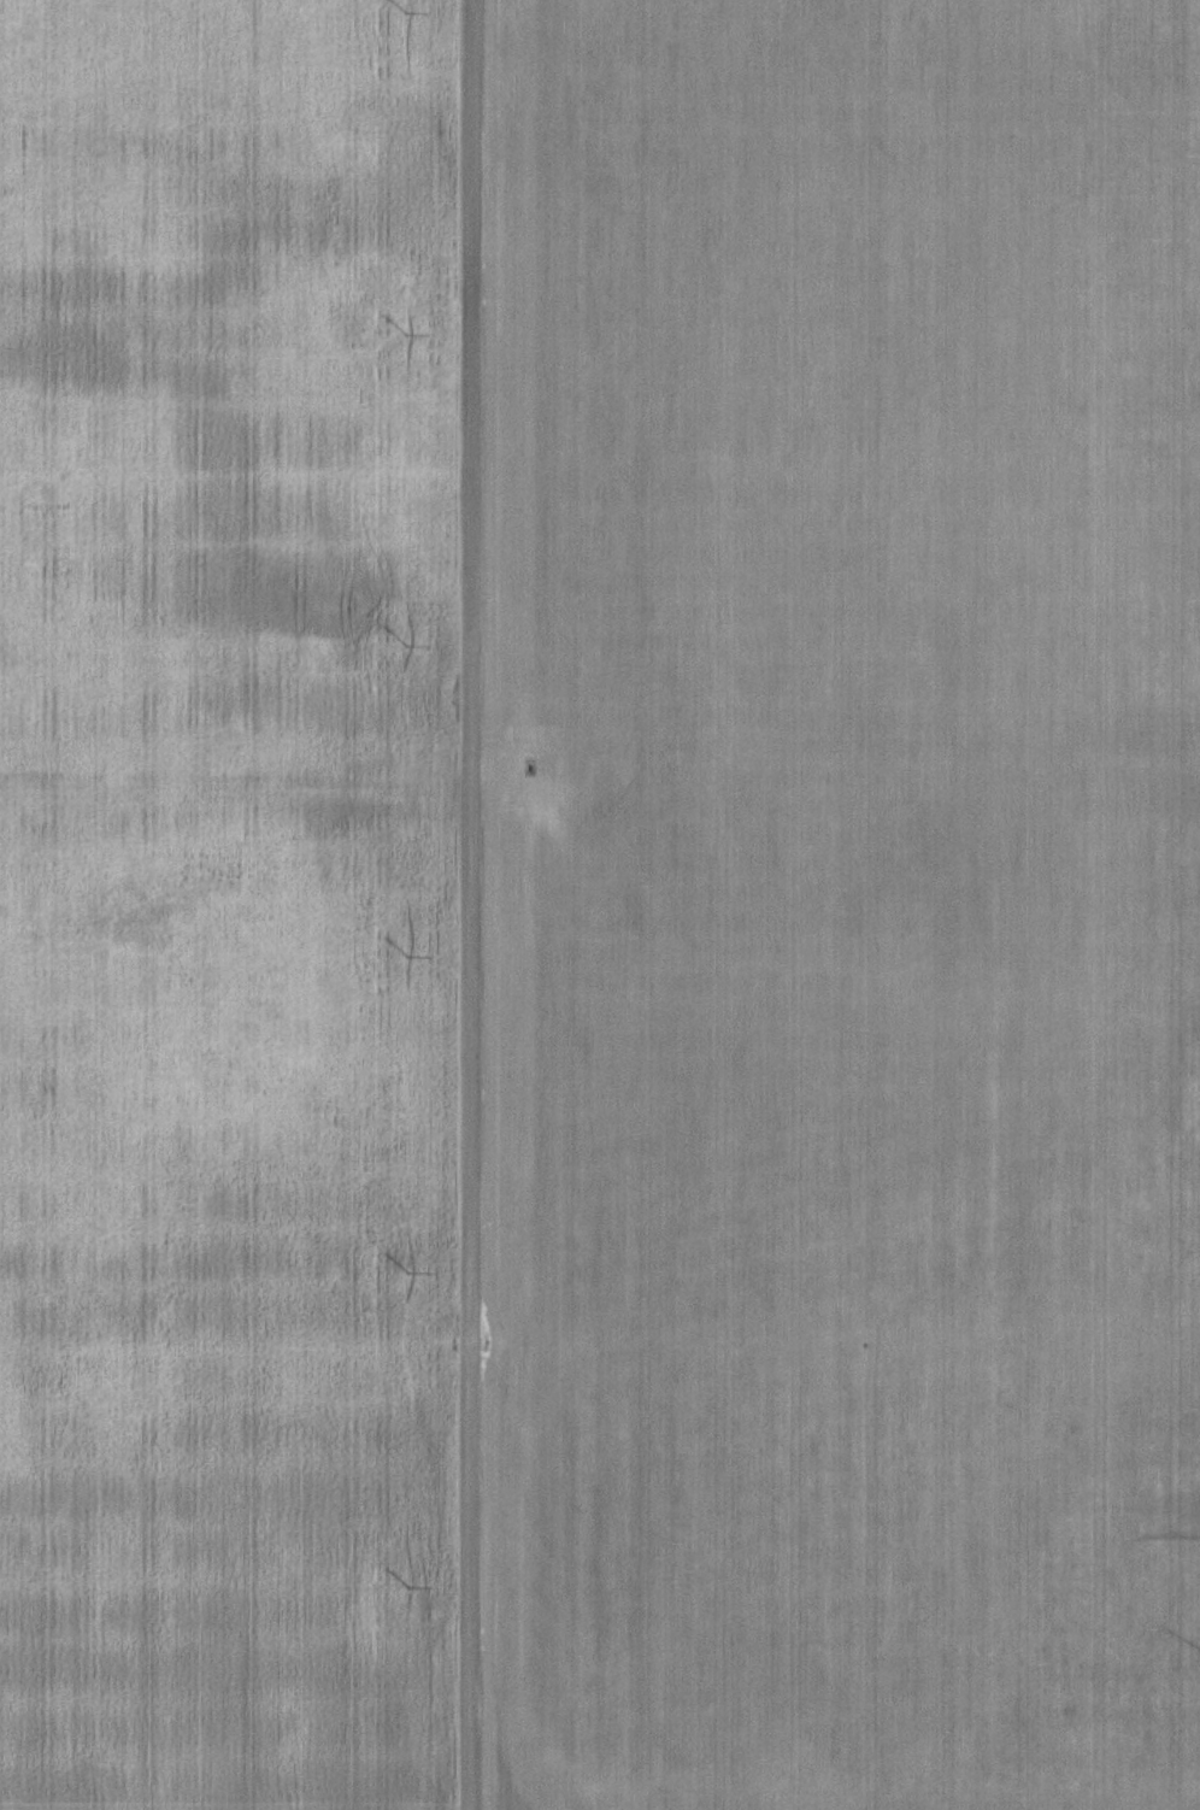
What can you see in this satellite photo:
road: (472, 905)

